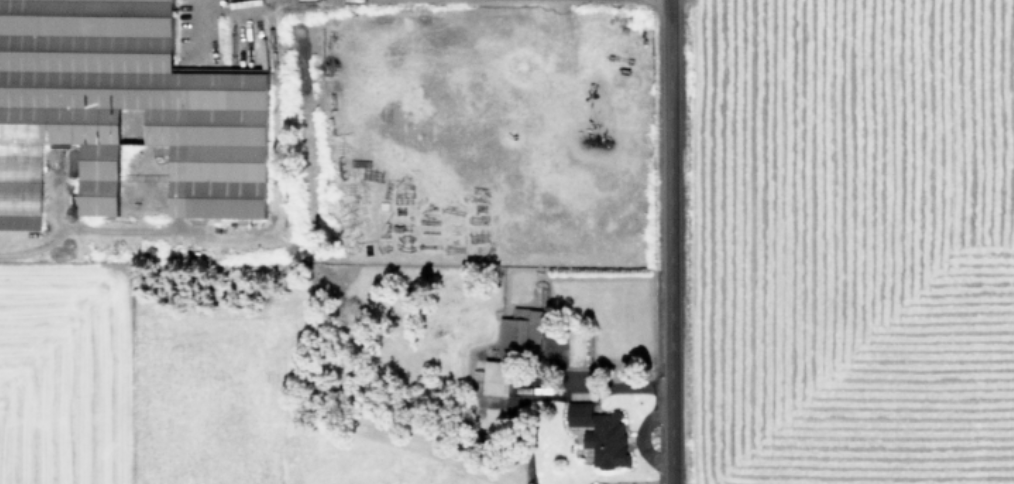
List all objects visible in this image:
road: (199, 15)
building: (18, 219)
crop: (309, 241)
road: (660, 242)
crop: (857, 242)
building: (519, 331)
building: (493, 377)
building: (598, 434)

